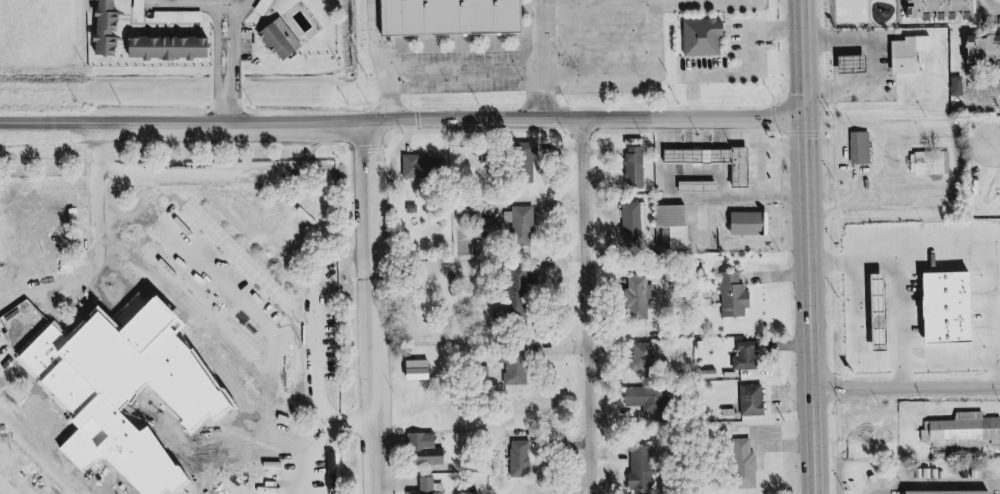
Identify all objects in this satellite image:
road: (588, 3)
building: (142, 5)
road: (249, 5)
road: (987, 5)
building: (267, 6)
road: (199, 8)
building: (934, 9)
building: (181, 16)
building: (449, 27)
building: (112, 29)
building: (698, 37)
building: (285, 39)
road: (590, 43)
building: (173, 47)
building: (981, 50)
building: (914, 53)
road: (372, 59)
road: (532, 59)
building: (859, 63)
road: (233, 64)
road: (454, 72)
road: (741, 75)
road: (629, 77)
building: (961, 86)
road: (983, 95)
road: (397, 117)
traffic signals: (796, 119)
road: (995, 146)
building: (533, 147)
building: (866, 149)
building: (492, 157)
building: (933, 163)
building: (638, 165)
building: (426, 166)
building: (735, 166)
gas station: (766, 166)
road: (208, 175)
road: (203, 187)
building: (702, 187)
road: (162, 209)
road: (243, 210)
building: (679, 223)
building: (753, 223)
building: (525, 224)
building: (635, 224)
building: (497, 225)
road: (800, 247)
road: (94, 268)
road: (833, 268)
road: (299, 293)
building: (738, 295)
building: (522, 296)
building: (644, 296)
park: (11, 306)
road: (582, 306)
building: (956, 307)
road: (363, 308)
road: (283, 316)
building: (200, 335)
road: (312, 344)
building: (751, 355)
building: (647, 356)
building: (423, 370)
building: (519, 371)
road: (274, 375)
road: (902, 388)
building: (650, 399)
building: (757, 401)
building: (966, 431)
building: (428, 448)
building: (524, 459)
building: (749, 464)
road: (351, 465)
building: (645, 467)
building: (433, 486)
building: (952, 492)

